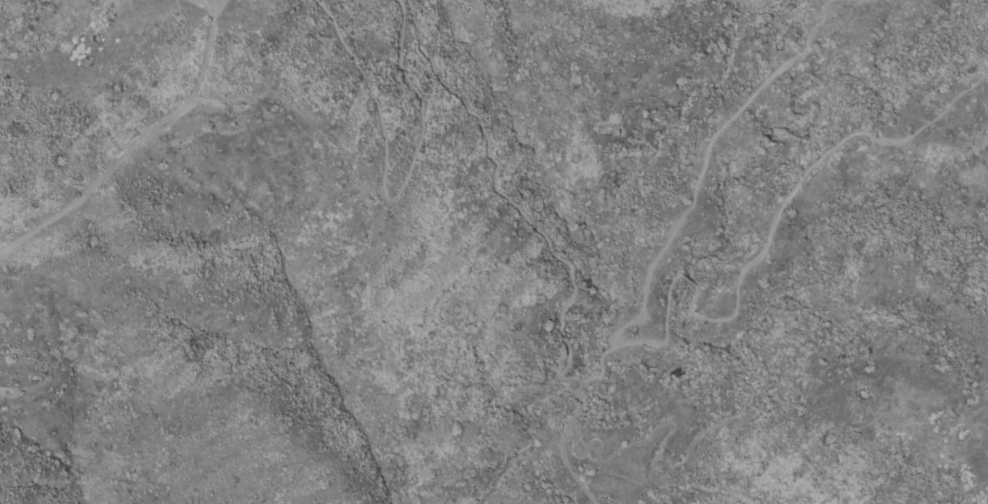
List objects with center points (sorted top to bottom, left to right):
road: (208, 6)
road: (138, 144)
road: (690, 190)
road: (379, 195)
road: (502, 200)
road: (763, 240)
road: (373, 256)
road: (534, 435)
road: (560, 443)
road: (652, 476)

